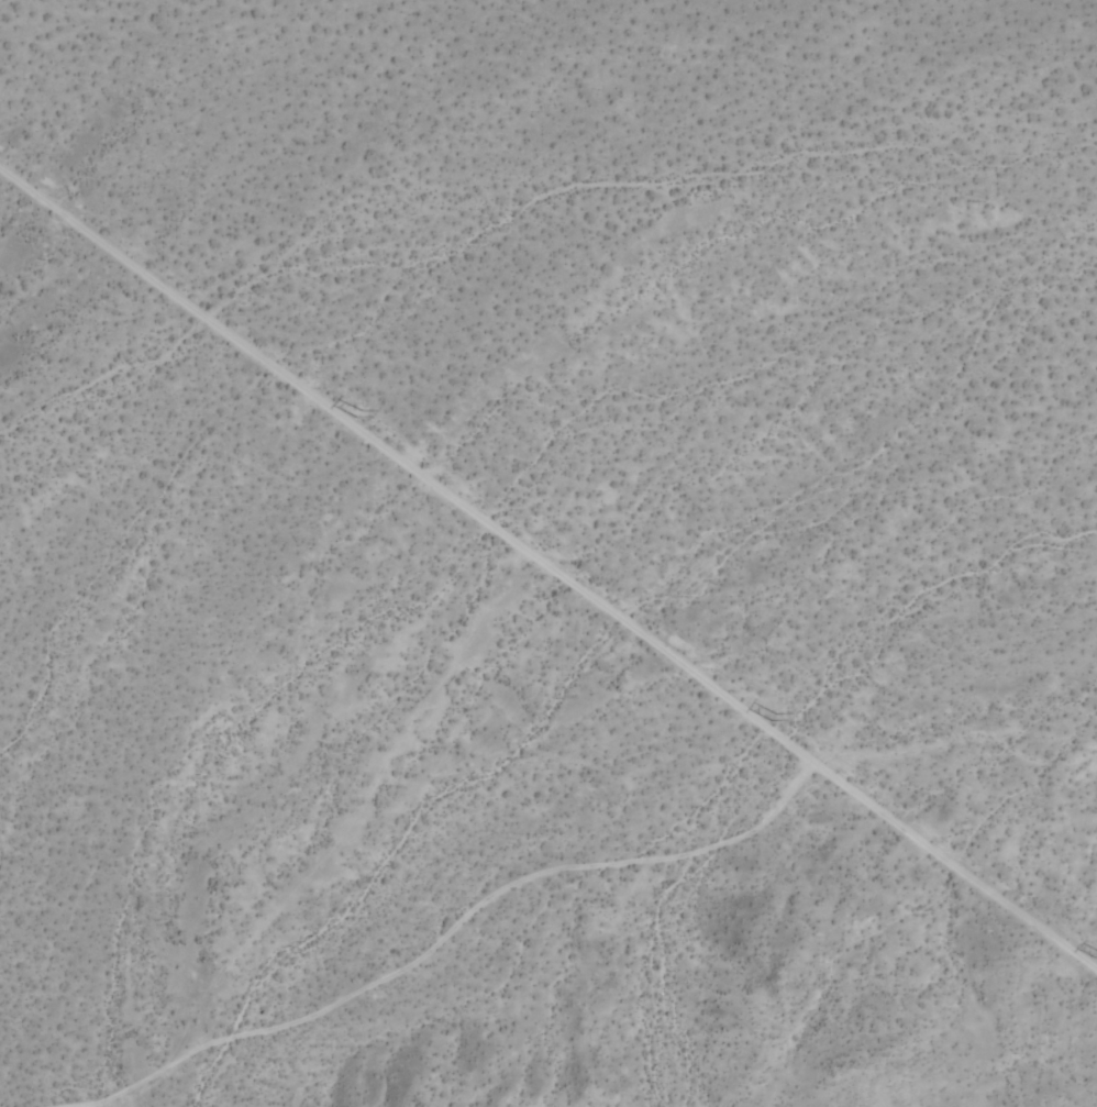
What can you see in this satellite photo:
power tower: (359, 414)
road: (406, 465)
power tower: (778, 721)
road: (954, 866)
power tower: (1096, 955)

